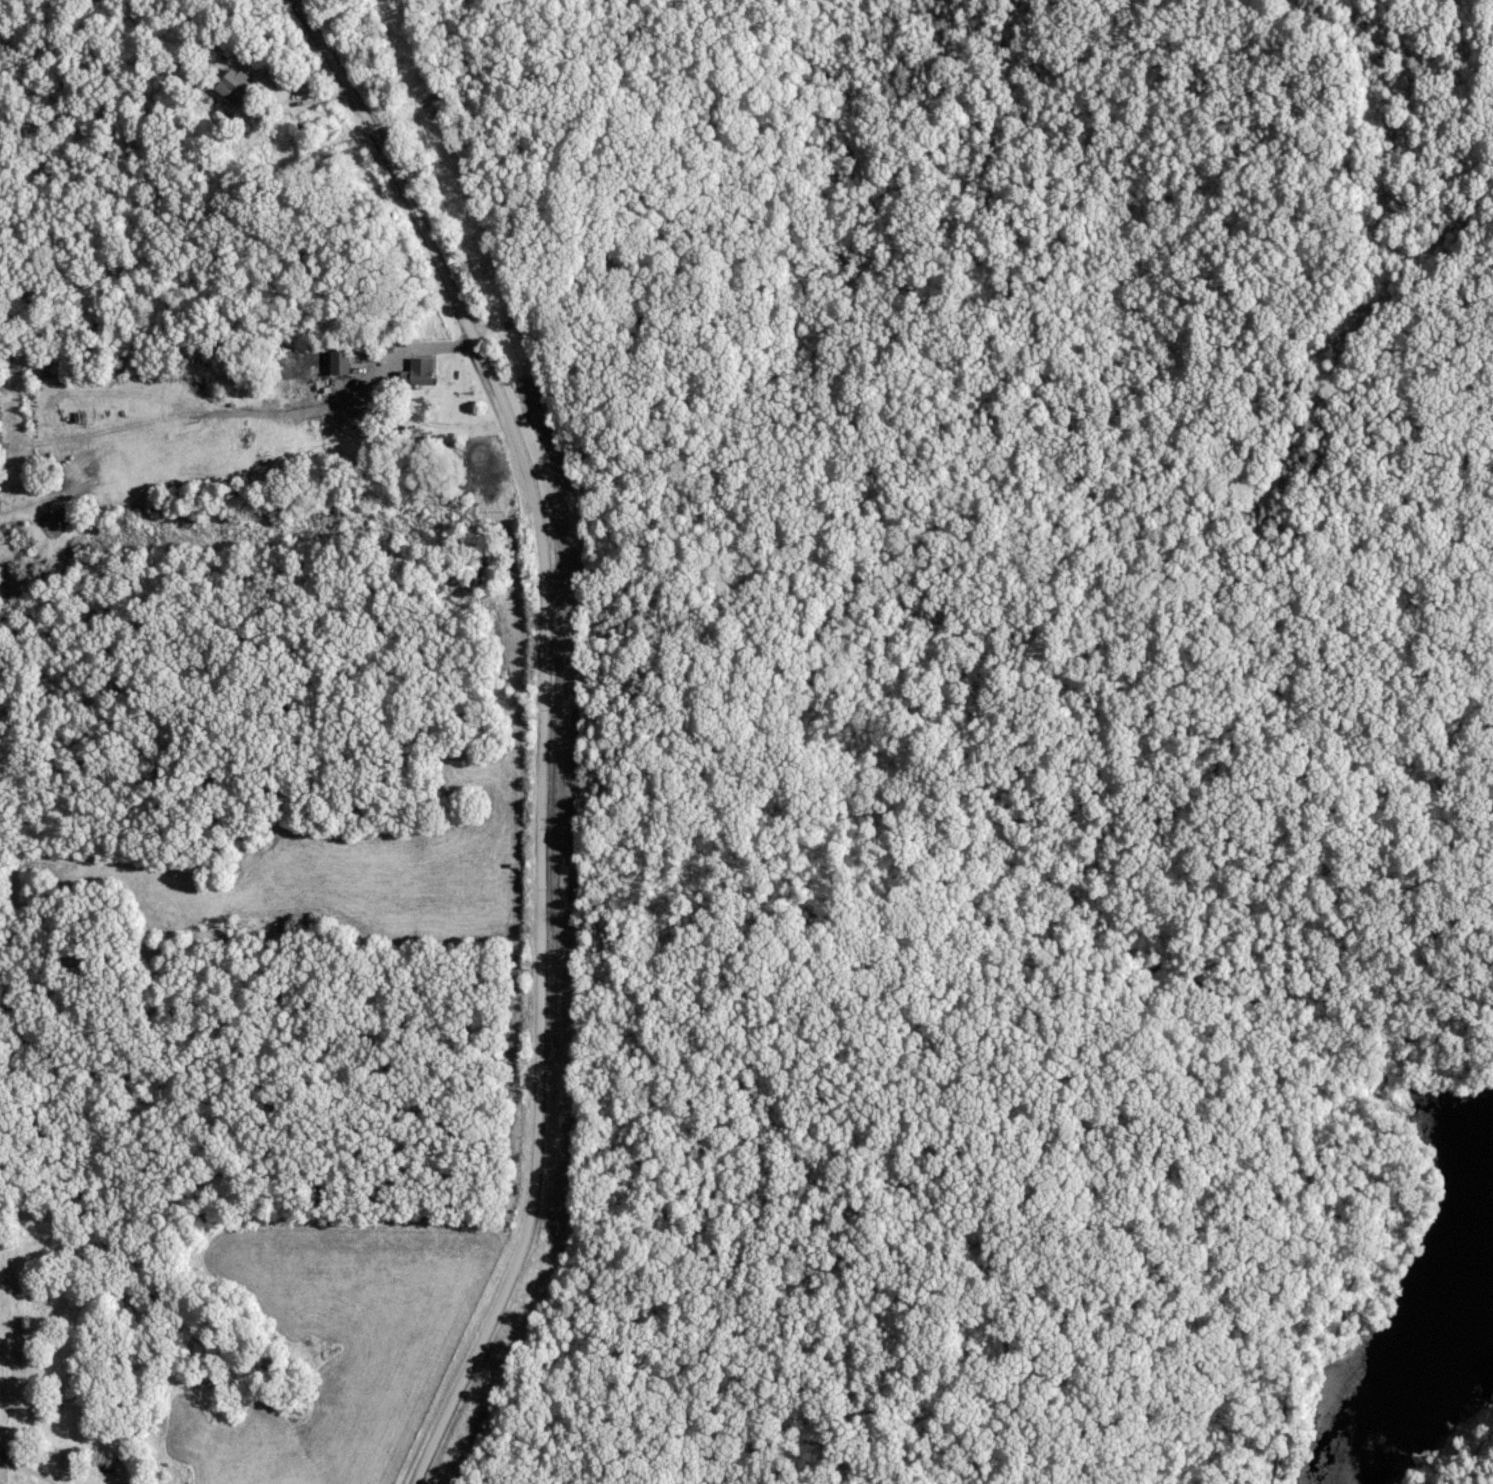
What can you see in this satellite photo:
building: (238, 87)
building: (342, 363)
building: (423, 371)
road: (539, 725)
road: (1392, 1224)
road: (1475, 1464)

